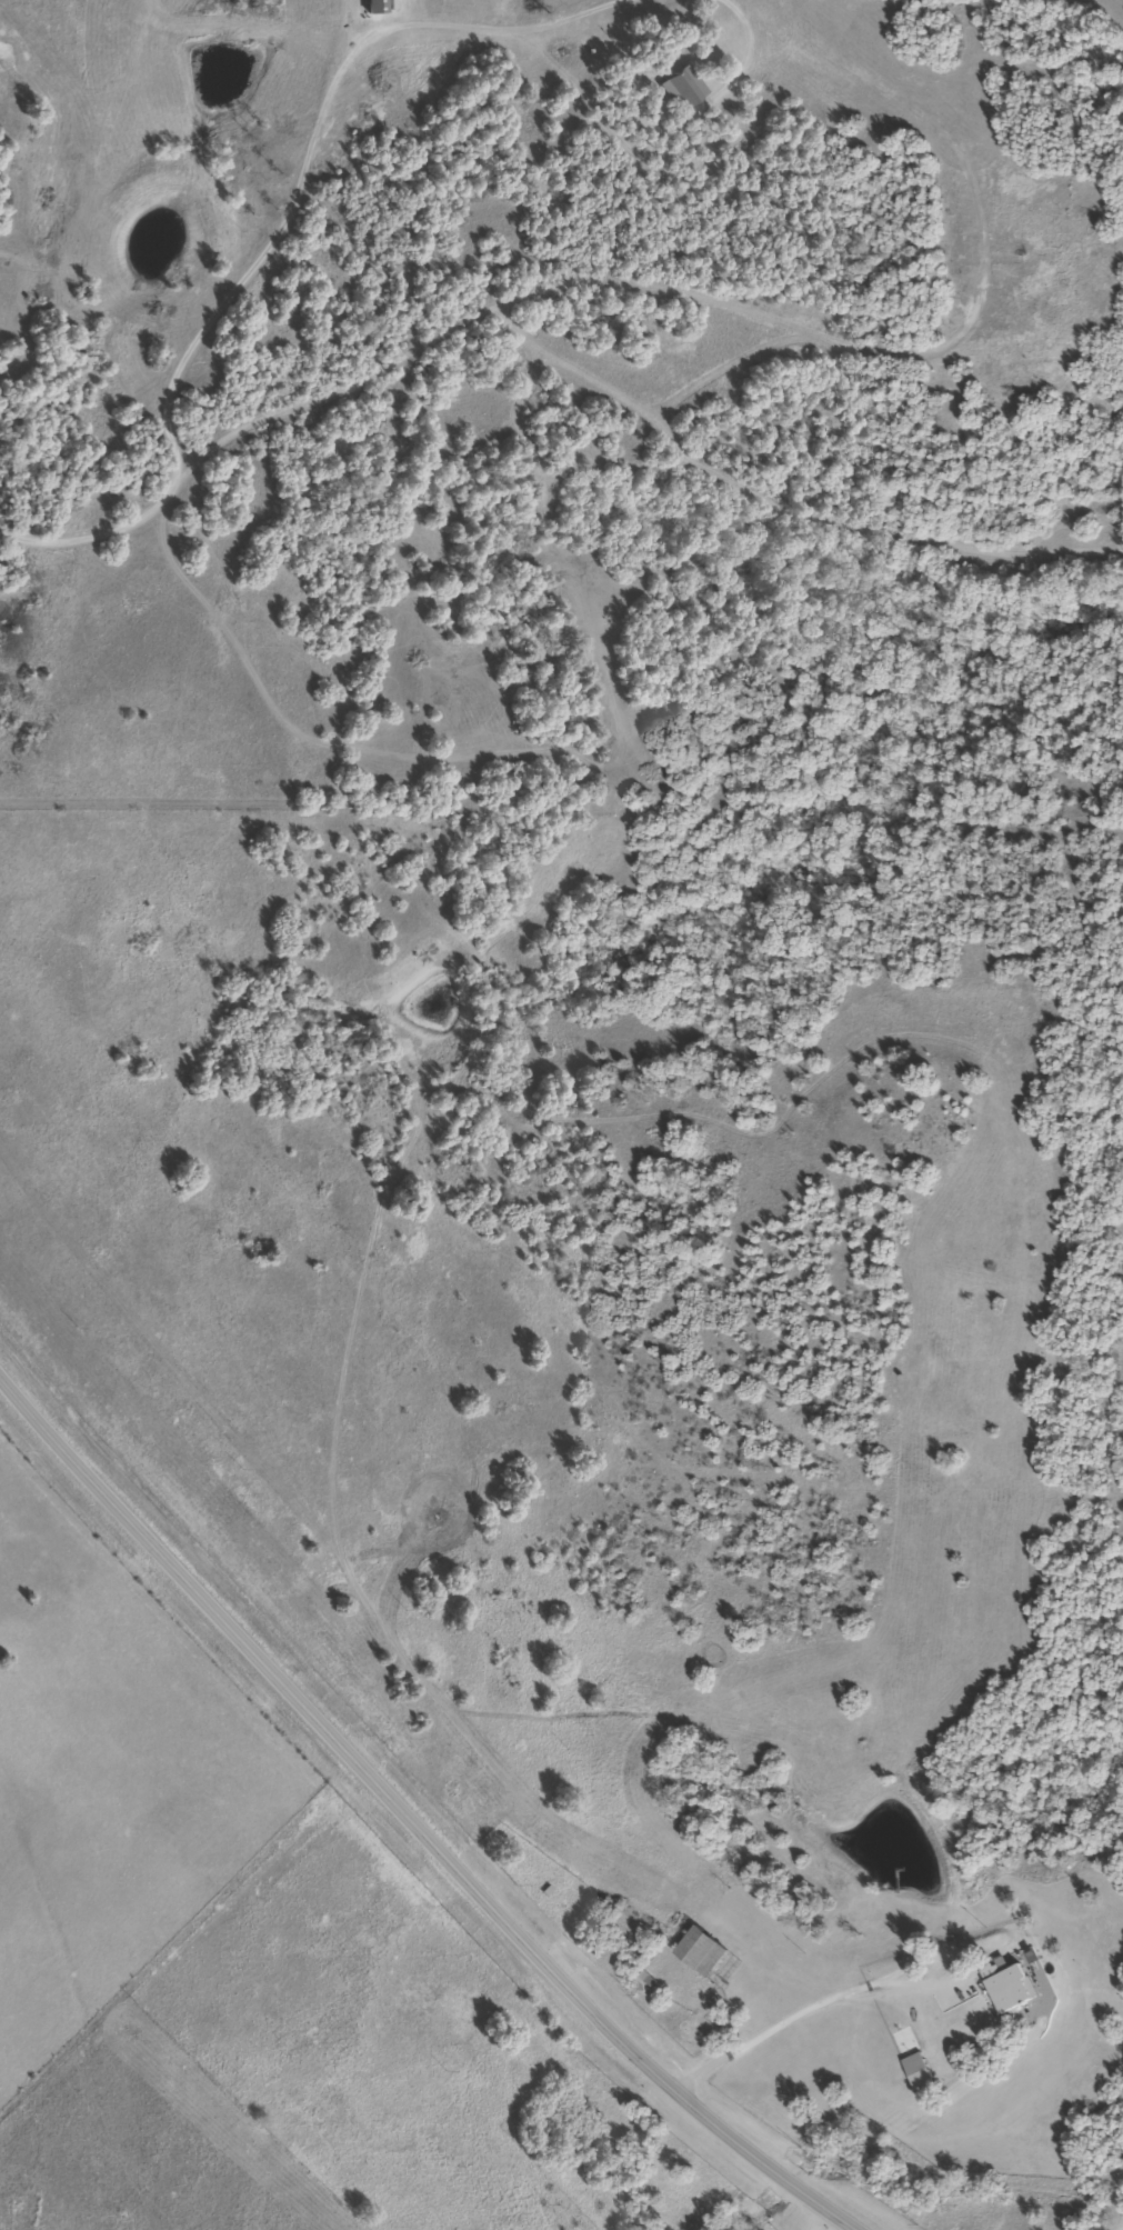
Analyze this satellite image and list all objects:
building: (375, 6)
building: (683, 87)
road: (507, 302)
road: (409, 1823)
building: (702, 1950)
building: (1007, 1984)
building: (919, 2072)

